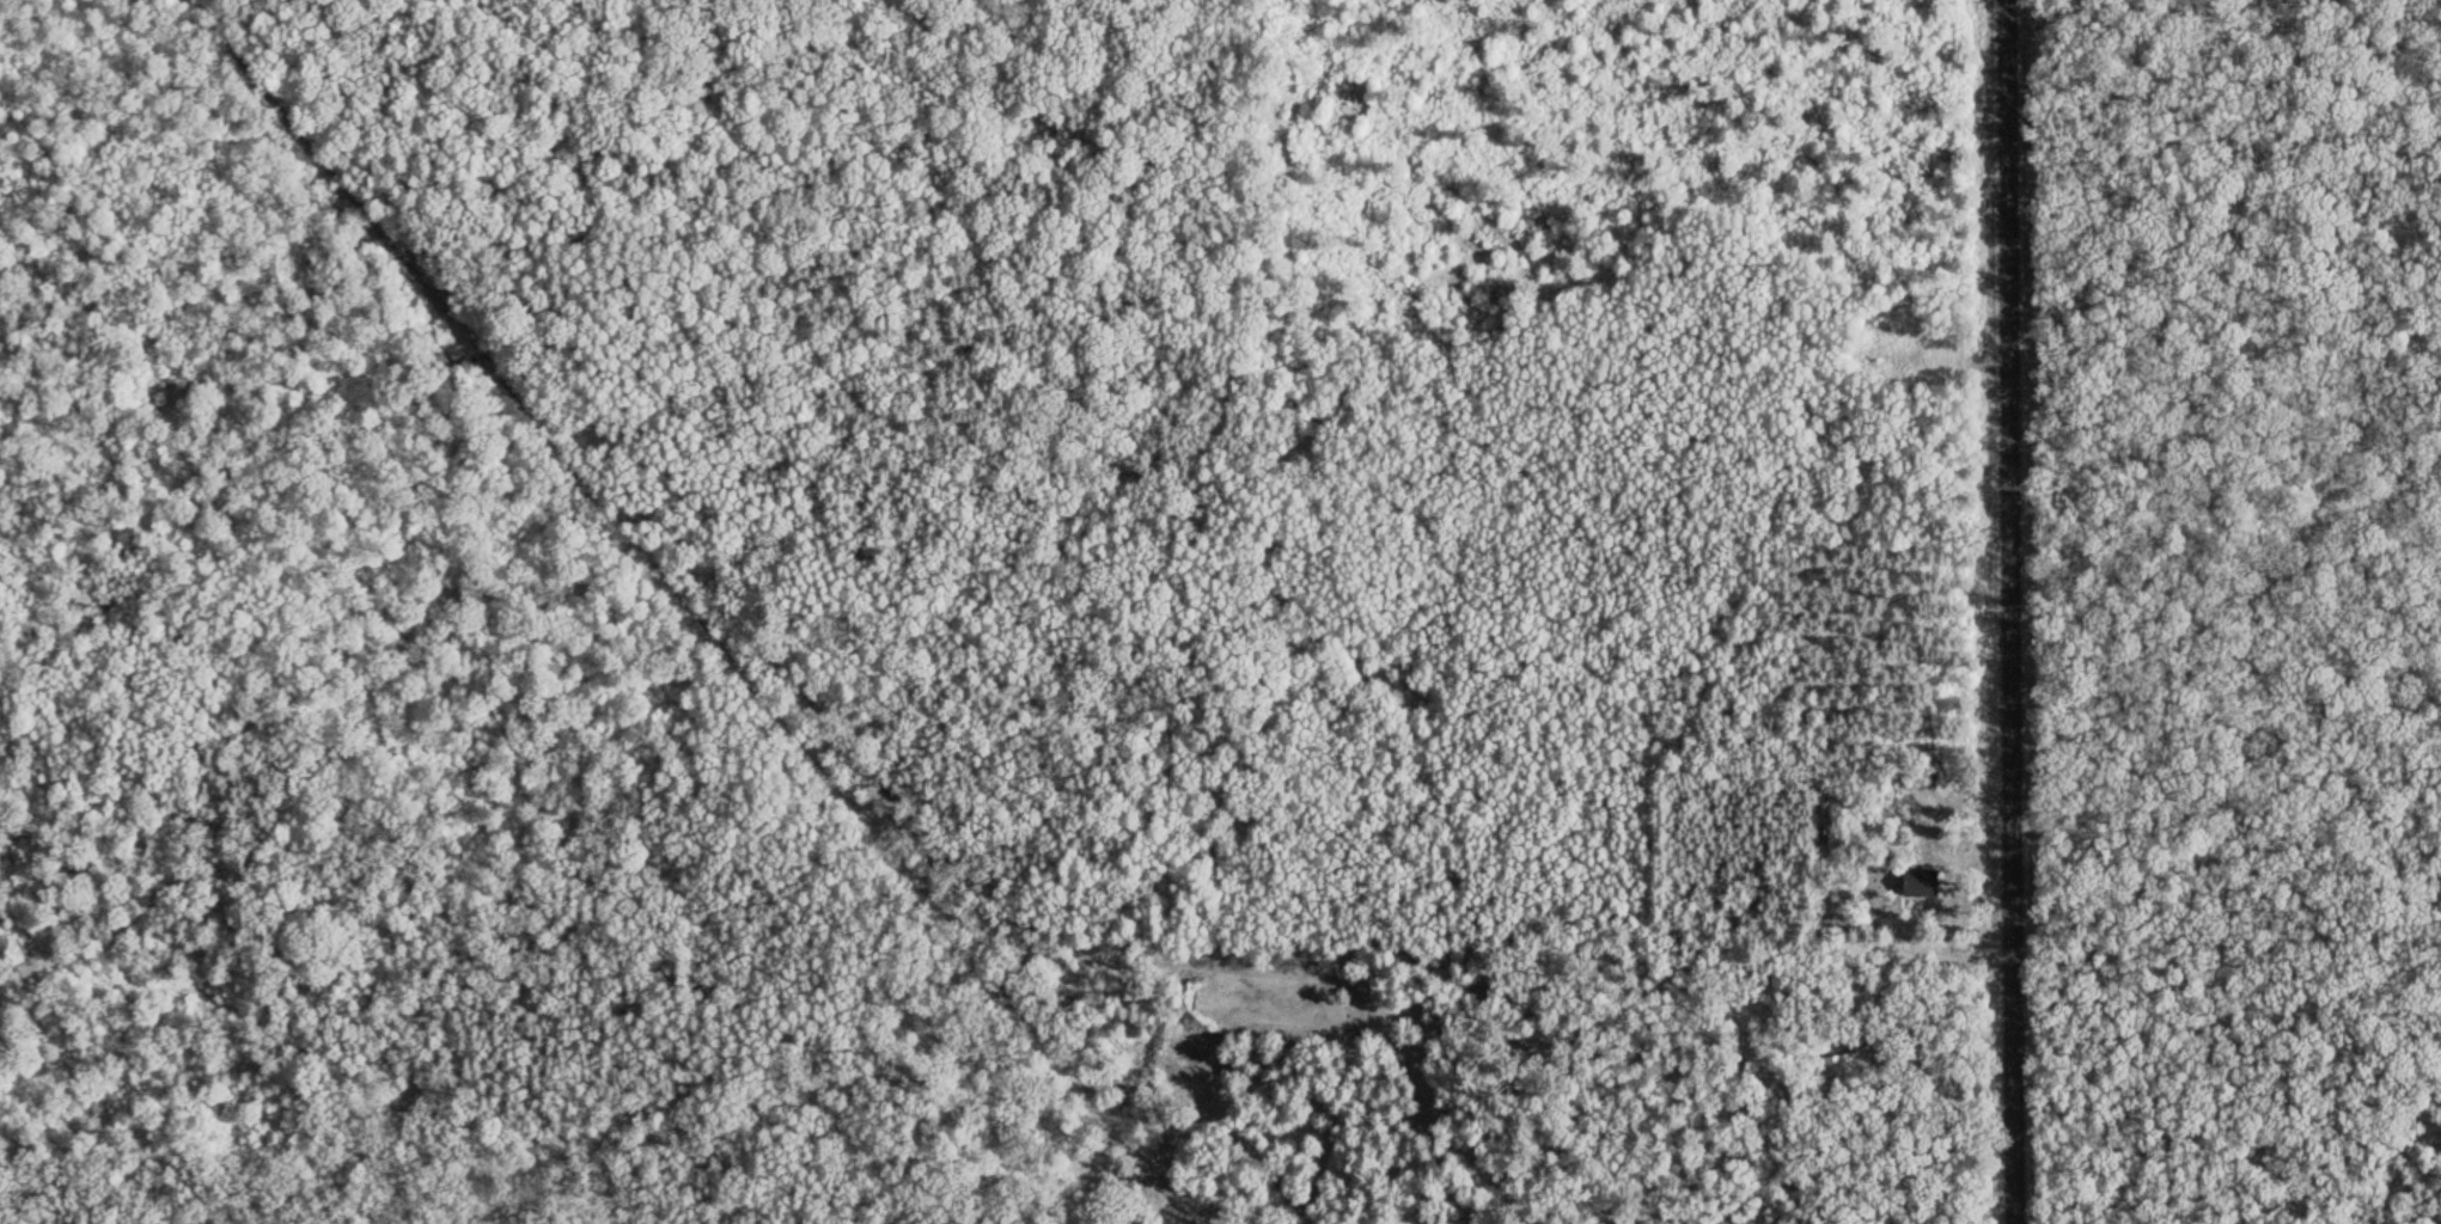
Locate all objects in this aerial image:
road: (2014, 612)
road: (1653, 723)
building: (1916, 880)
building: (1833, 1065)

